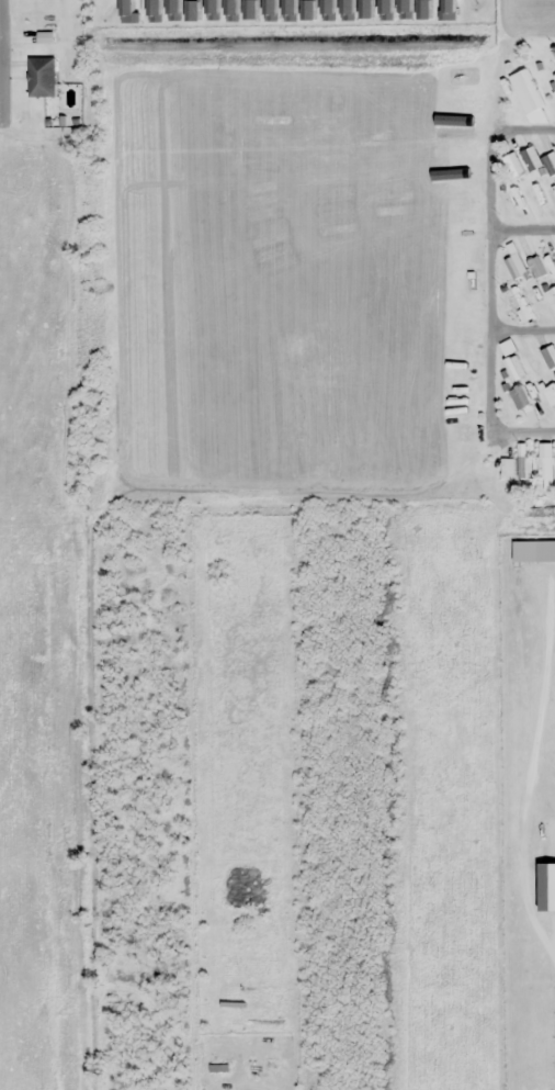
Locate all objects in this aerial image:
building: (46, 36)
building: (42, 76)
building: (554, 77)
building: (525, 91)
building: (554, 94)
building: (539, 160)
building: (513, 164)
building: (552, 194)
building: (520, 205)
building: (551, 262)
building: (516, 266)
building: (536, 267)
building: (516, 299)
building: (552, 299)
road: (277, 317)
building: (508, 347)
building: (550, 356)
building: (513, 367)
building: (536, 367)
building: (519, 397)
building: (524, 467)
building: (545, 468)
building: (507, 469)
building: (218, 1066)

